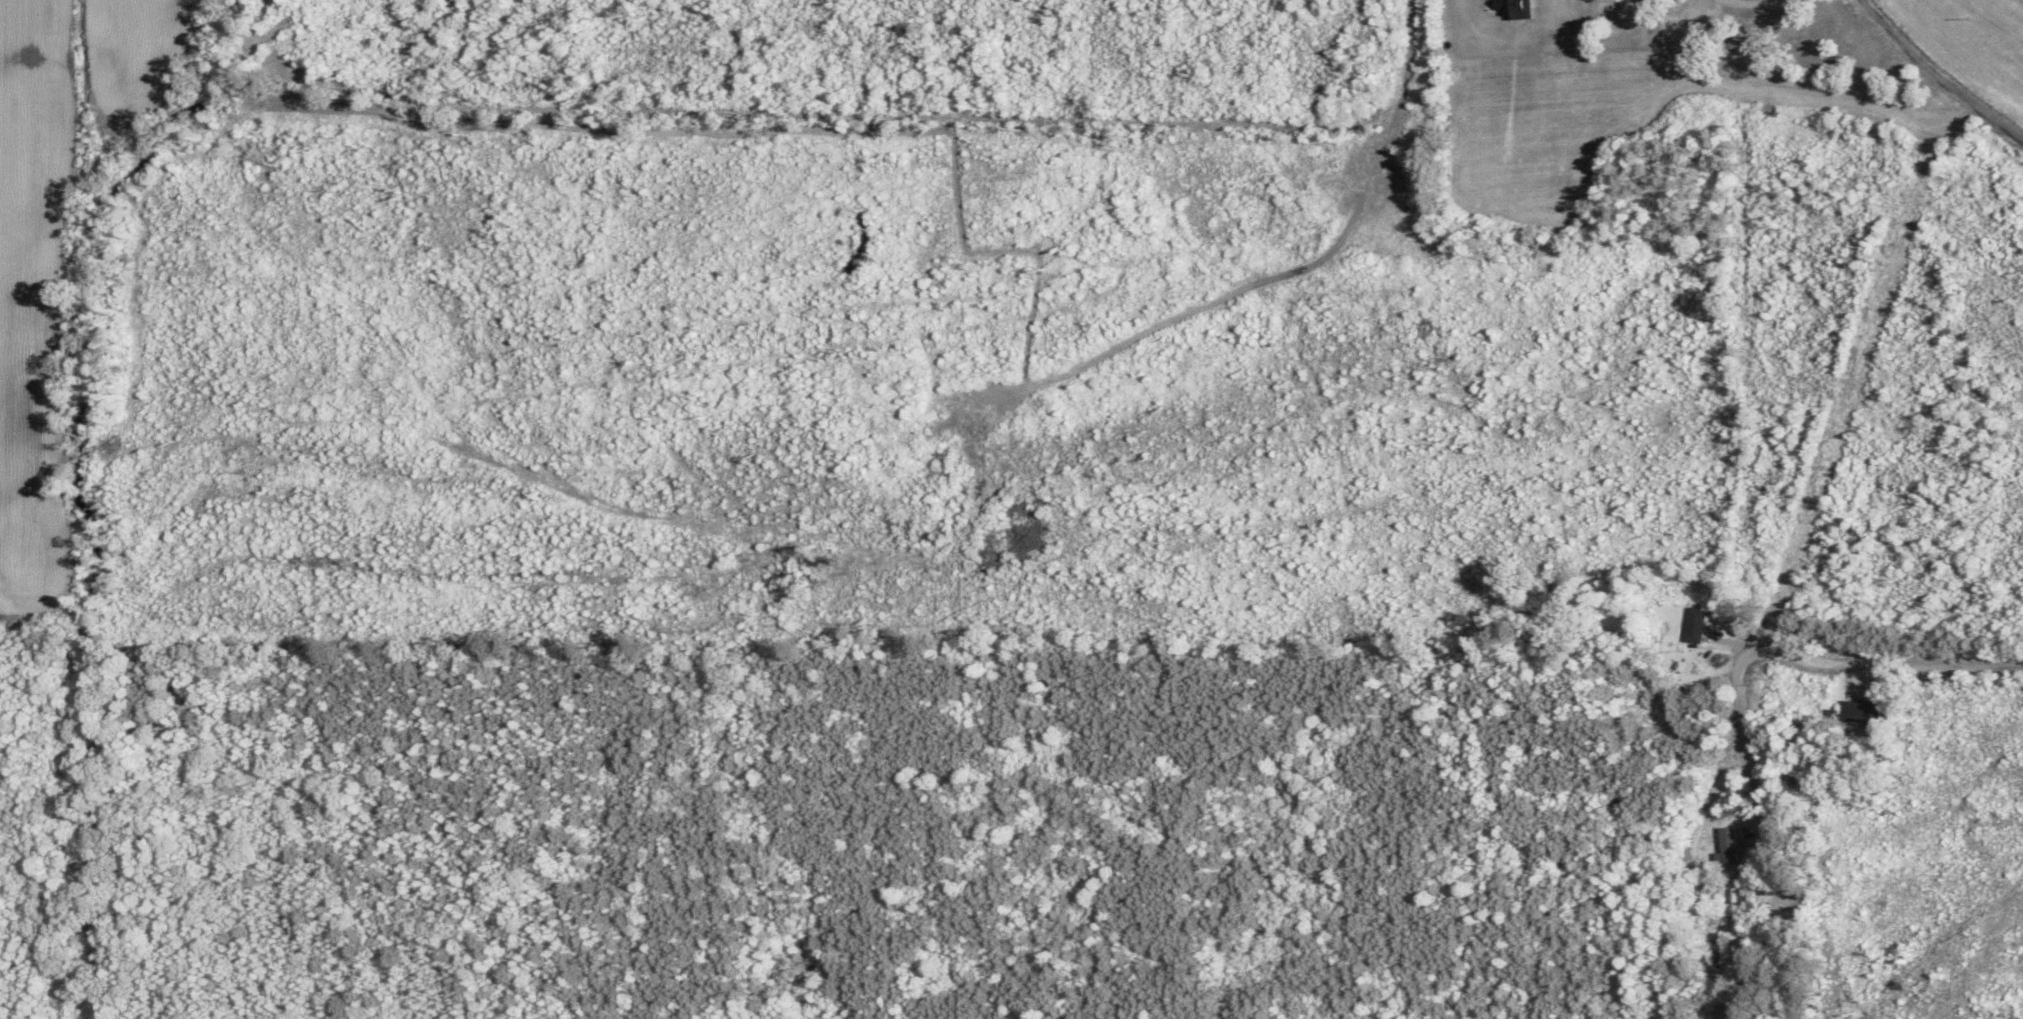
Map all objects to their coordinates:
road: (1937, 76)
building: (1691, 625)
road: (1752, 654)
building: (1857, 712)
building: (1725, 845)
building: (1734, 894)
building: (1713, 951)

